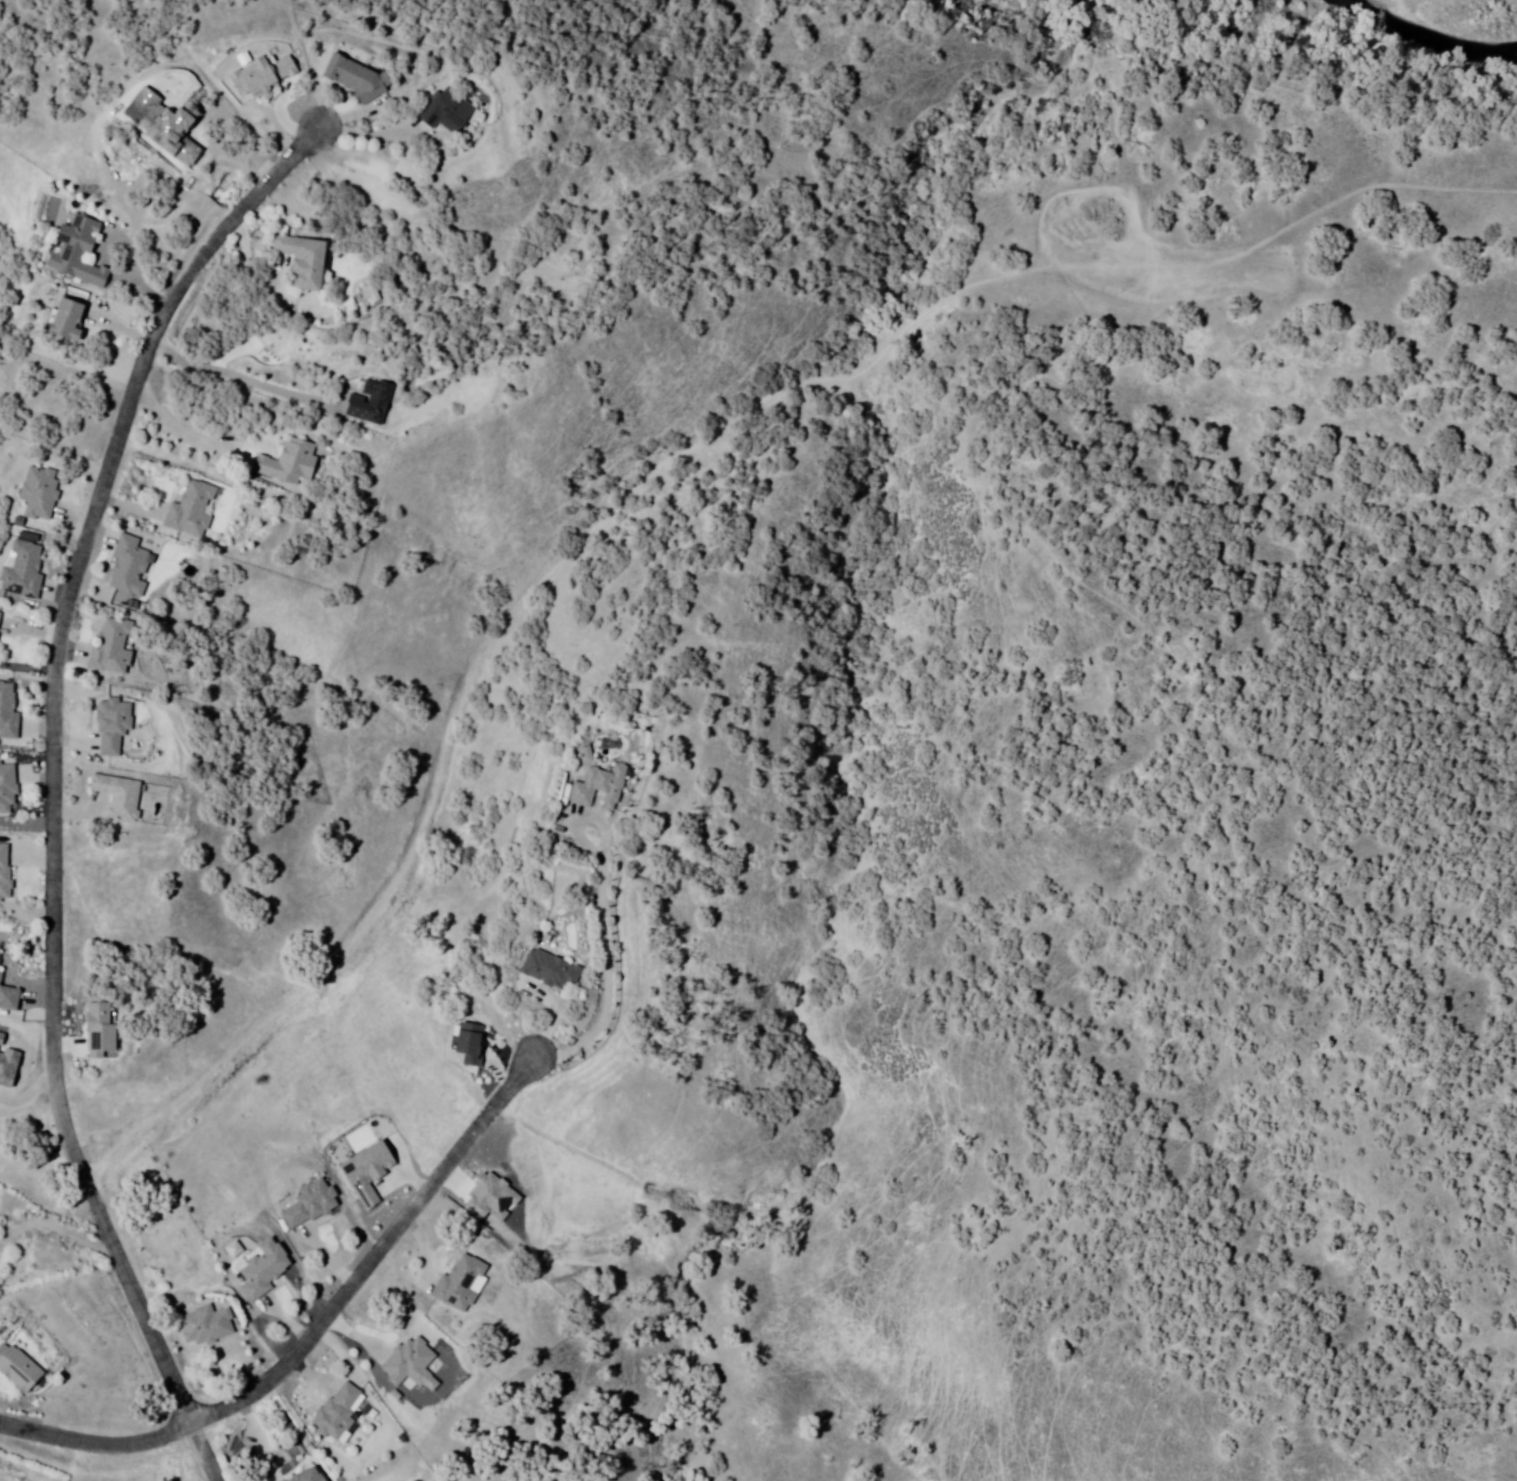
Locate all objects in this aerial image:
river: (1435, 47)
building: (262, 79)
building: (359, 79)
building: (447, 111)
building: (81, 254)
building: (304, 262)
building: (70, 323)
road: (243, 378)
building: (371, 404)
road: (194, 439)
building: (290, 466)
building: (42, 494)
building: (192, 511)
building: (129, 567)
building: (26, 571)
building: (1, 622)
building: (112, 652)
building: (9, 712)
building: (114, 725)
road: (57, 783)
building: (600, 788)
building: (9, 789)
building: (119, 798)
building: (6, 875)
road: (603, 916)
building: (1, 954)
building: (550, 973)
building: (9, 999)
building: (101, 1032)
building: (470, 1045)
building: (362, 1177)
building: (493, 1195)
building: (302, 1210)
building: (264, 1267)
building: (462, 1279)
building: (207, 1322)
road: (318, 1332)
building: (409, 1357)
building: (19, 1366)
building: (338, 1411)
building: (308, 1474)

